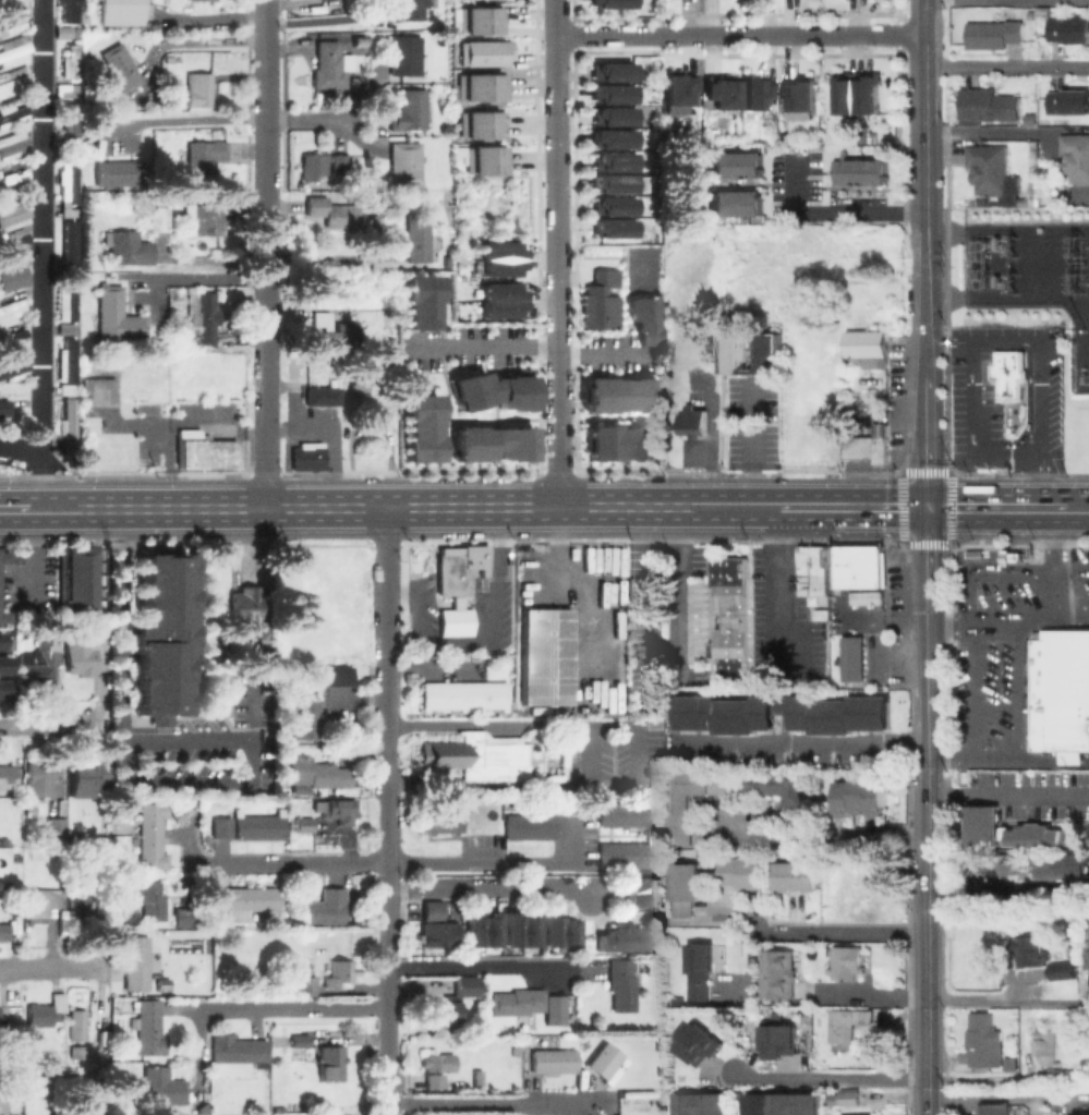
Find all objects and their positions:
building: (354, 2)
building: (608, 3)
building: (71, 10)
building: (122, 11)
building: (412, 11)
road: (263, 12)
building: (13, 16)
building: (480, 20)
road: (323, 21)
building: (1070, 29)
building: (64, 31)
building: (995, 35)
road: (740, 36)
building: (14, 49)
building: (482, 52)
building: (406, 56)
building: (73, 60)
road: (925, 62)
building: (330, 65)
road: (1007, 65)
building: (121, 68)
building: (608, 71)
building: (11, 80)
building: (479, 86)
building: (680, 86)
building: (722, 87)
building: (68, 89)
building: (199, 89)
building: (758, 89)
building: (802, 89)
building: (859, 90)
building: (609, 93)
building: (1070, 100)
building: (991, 106)
building: (410, 111)
building: (13, 113)
building: (609, 116)
road: (300, 119)
building: (69, 120)
road: (189, 120)
building: (479, 124)
road: (989, 132)
building: (610, 137)
road: (263, 143)
building: (14, 146)
building: (483, 152)
building: (1077, 158)
building: (205, 159)
building: (609, 160)
building: (407, 161)
building: (314, 165)
building: (734, 165)
building: (483, 166)
building: (340, 167)
road: (925, 169)
building: (857, 171)
building: (993, 171)
building: (119, 172)
building: (70, 179)
building: (610, 182)
building: (734, 203)
building: (610, 205)
building: (330, 210)
building: (69, 211)
building: (12, 213)
road: (832, 213)
building: (160, 216)
building: (211, 217)
road: (40, 226)
building: (610, 227)
building: (418, 238)
building: (73, 241)
building: (13, 243)
building: (129, 249)
building: (498, 250)
road: (558, 254)
road: (325, 256)
building: (498, 267)
power substation: (1031, 274)
building: (12, 276)
road: (197, 277)
building: (499, 291)
building: (72, 299)
building: (419, 300)
building: (12, 302)
building: (602, 302)
building: (64, 303)
building: (499, 307)
building: (204, 315)
building: (118, 318)
building: (644, 318)
building: (66, 329)
building: (330, 329)
building: (14, 334)
road: (949, 342)
road: (531, 347)
building: (869, 350)
building: (752, 352)
building: (71, 357)
road: (1045, 360)
road: (925, 361)
building: (12, 367)
building: (1012, 374)
building: (359, 380)
road: (264, 385)
building: (66, 388)
building: (489, 390)
building: (95, 391)
building: (619, 395)
building: (323, 396)
building: (4, 407)
building: (697, 424)
building: (419, 427)
road: (973, 433)
building: (489, 443)
building: (869, 444)
road: (20, 445)
building: (621, 445)
road: (755, 446)
building: (201, 450)
building: (308, 456)
road: (1049, 480)
road: (38, 481)
road: (400, 508)
road: (748, 508)
road: (807, 508)
road: (879, 508)
traffic signals: (927, 508)
road: (1000, 509)
road: (1081, 509)
road: (13, 510)
road: (57, 510)
road: (247, 544)
road: (27, 552)
building: (1011, 555)
building: (0, 556)
building: (861, 566)
road: (1057, 566)
building: (457, 568)
building: (813, 569)
road: (1073, 570)
building: (76, 580)
road: (782, 582)
road: (678, 583)
road: (386, 584)
building: (639, 589)
building: (864, 596)
building: (244, 604)
building: (1, 617)
building: (731, 617)
building: (457, 620)
road: (1007, 621)
road: (927, 625)
building: (266, 630)
building: (0, 631)
building: (164, 635)
building: (225, 645)
building: (85, 655)
building: (543, 656)
building: (40, 659)
building: (852, 662)
building: (2, 663)
road: (432, 666)
building: (332, 675)
building: (2, 687)
road: (123, 690)
building: (1061, 691)
building: (464, 694)
building: (301, 704)
building: (783, 714)
building: (301, 718)
building: (164, 722)
road: (44, 723)
road: (493, 726)
road: (385, 729)
building: (301, 731)
road: (1024, 739)
road: (800, 742)
building: (536, 747)
building: (483, 755)
building: (318, 772)
building: (8, 776)
building: (87, 776)
building: (41, 777)
building: (784, 793)
road: (1008, 793)
building: (861, 799)
building: (693, 801)
building: (335, 809)
building: (607, 813)
building: (632, 813)
building: (302, 821)
building: (428, 821)
building: (449, 821)
building: (983, 825)
building: (218, 826)
building: (256, 826)
building: (512, 826)
building: (540, 826)
building: (57, 831)
building: (1088, 831)
building: (152, 834)
road: (824, 835)
building: (1039, 836)
building: (607, 855)
building: (632, 855)
road: (384, 861)
building: (745, 873)
building: (798, 876)
building: (847, 883)
road: (485, 886)
building: (687, 889)
building: (643, 894)
road: (967, 895)
building: (152, 899)
building: (80, 901)
building: (246, 901)
building: (40, 904)
building: (325, 907)
building: (101, 916)
building: (184, 916)
building: (438, 928)
road: (928, 928)
building: (484, 930)
building: (522, 930)
road: (839, 932)
building: (3, 933)
building: (559, 933)
building: (622, 941)
building: (1029, 950)
road: (385, 957)
building: (1088, 960)
building: (137, 963)
road: (488, 965)
building: (845, 965)
road: (56, 967)
building: (1060, 969)
building: (701, 970)
building: (339, 971)
building: (778, 974)
building: (307, 983)
building: (622, 986)
road: (862, 994)
road: (1008, 998)
building: (452, 999)
building: (533, 1005)
road: (280, 1007)
building: (47, 1010)
building: (77, 1022)
building: (848, 1023)
building: (150, 1028)
building: (300, 1039)
building: (527, 1039)
building: (779, 1041)
building: (984, 1041)
building: (661, 1044)
building: (700, 1046)
building: (239, 1049)
building: (299, 1054)
building: (1053, 1058)
building: (553, 1059)
building: (330, 1061)
building: (440, 1063)
building: (606, 1065)
building: (1012, 1065)
road: (830, 1078)
building: (162, 1086)
road: (1008, 1096)
building: (849, 1098)
road: (477, 1102)
building: (787, 1105)
building: (701, 1106)
road: (964, 1106)
building: (100, 1108)
building: (994, 1110)
building: (616, 1114)
building: (620, 1114)
building: (861, 1114)

